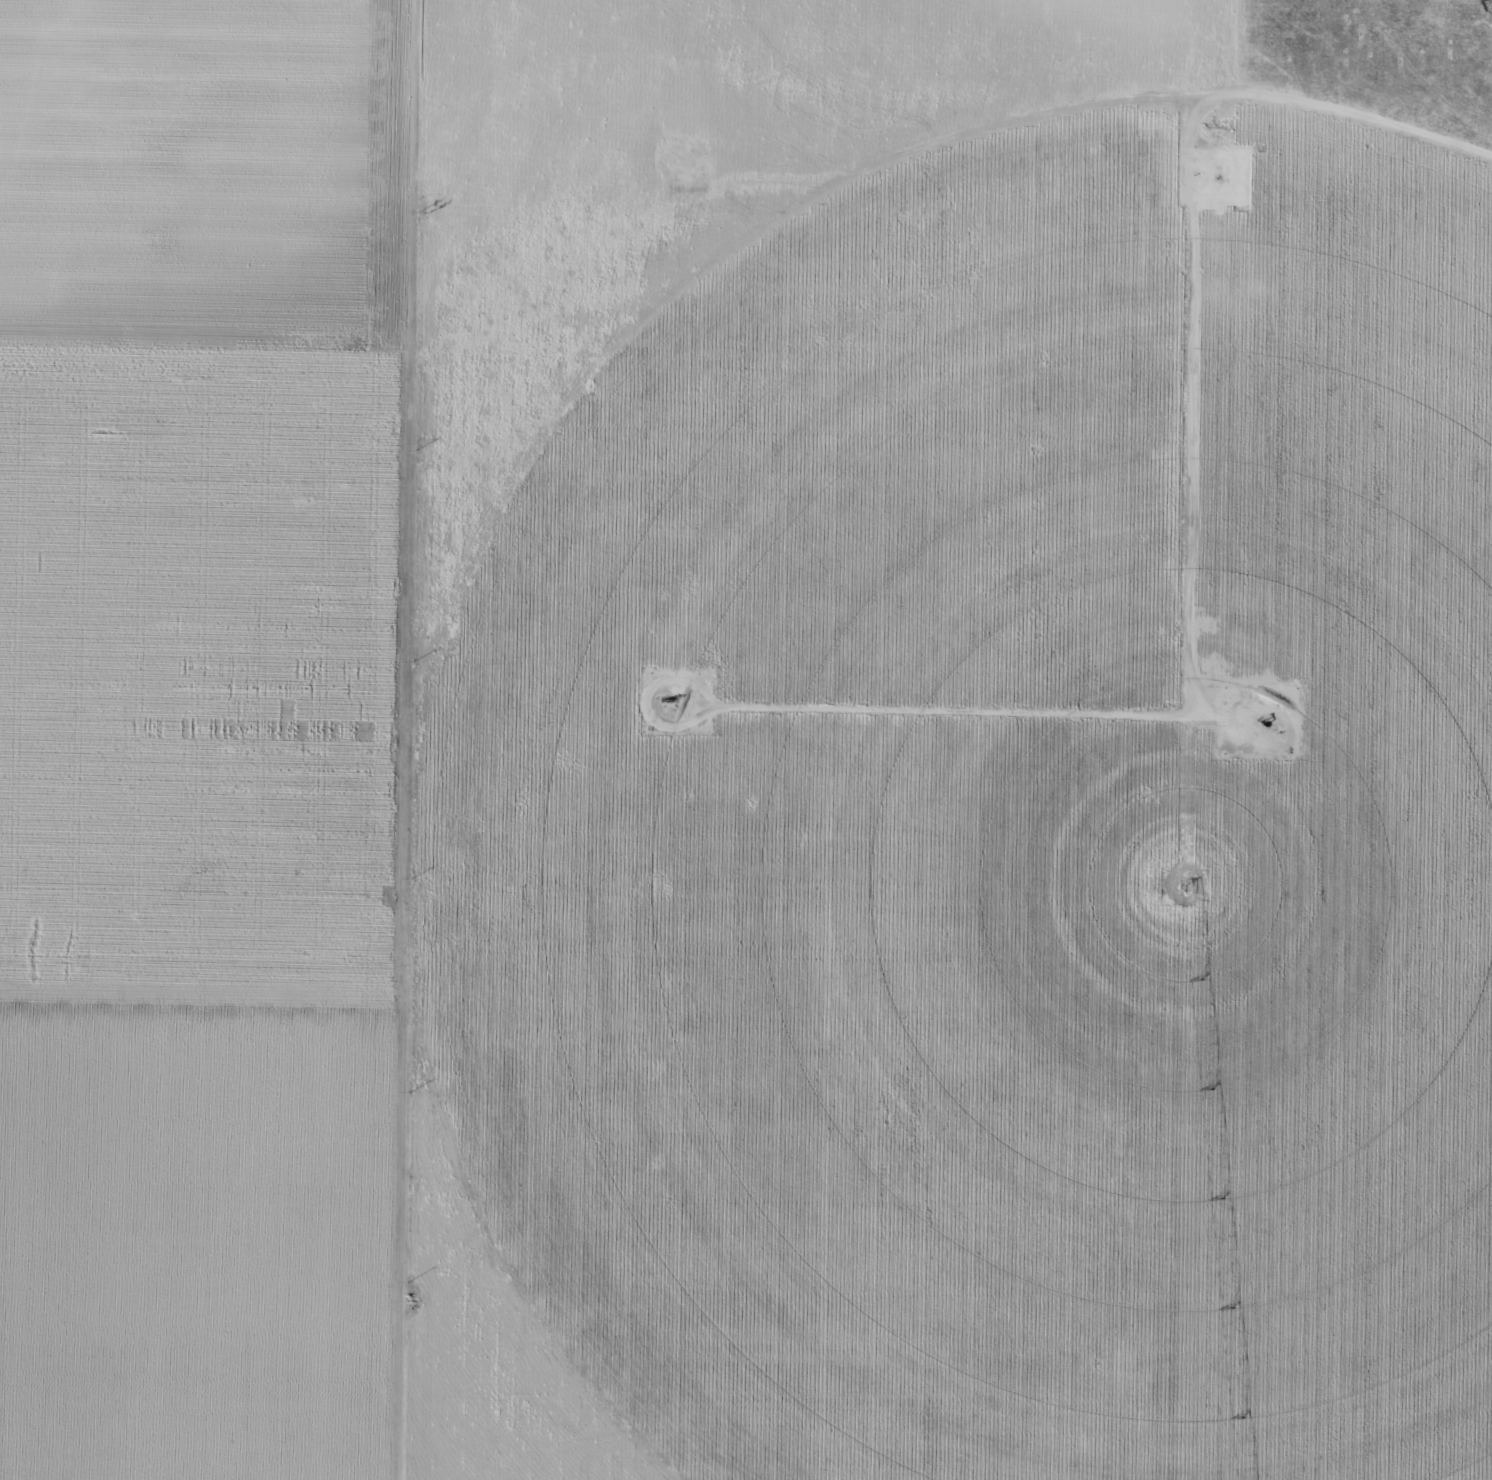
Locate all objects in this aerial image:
road: (208, 381)
road: (410, 740)

